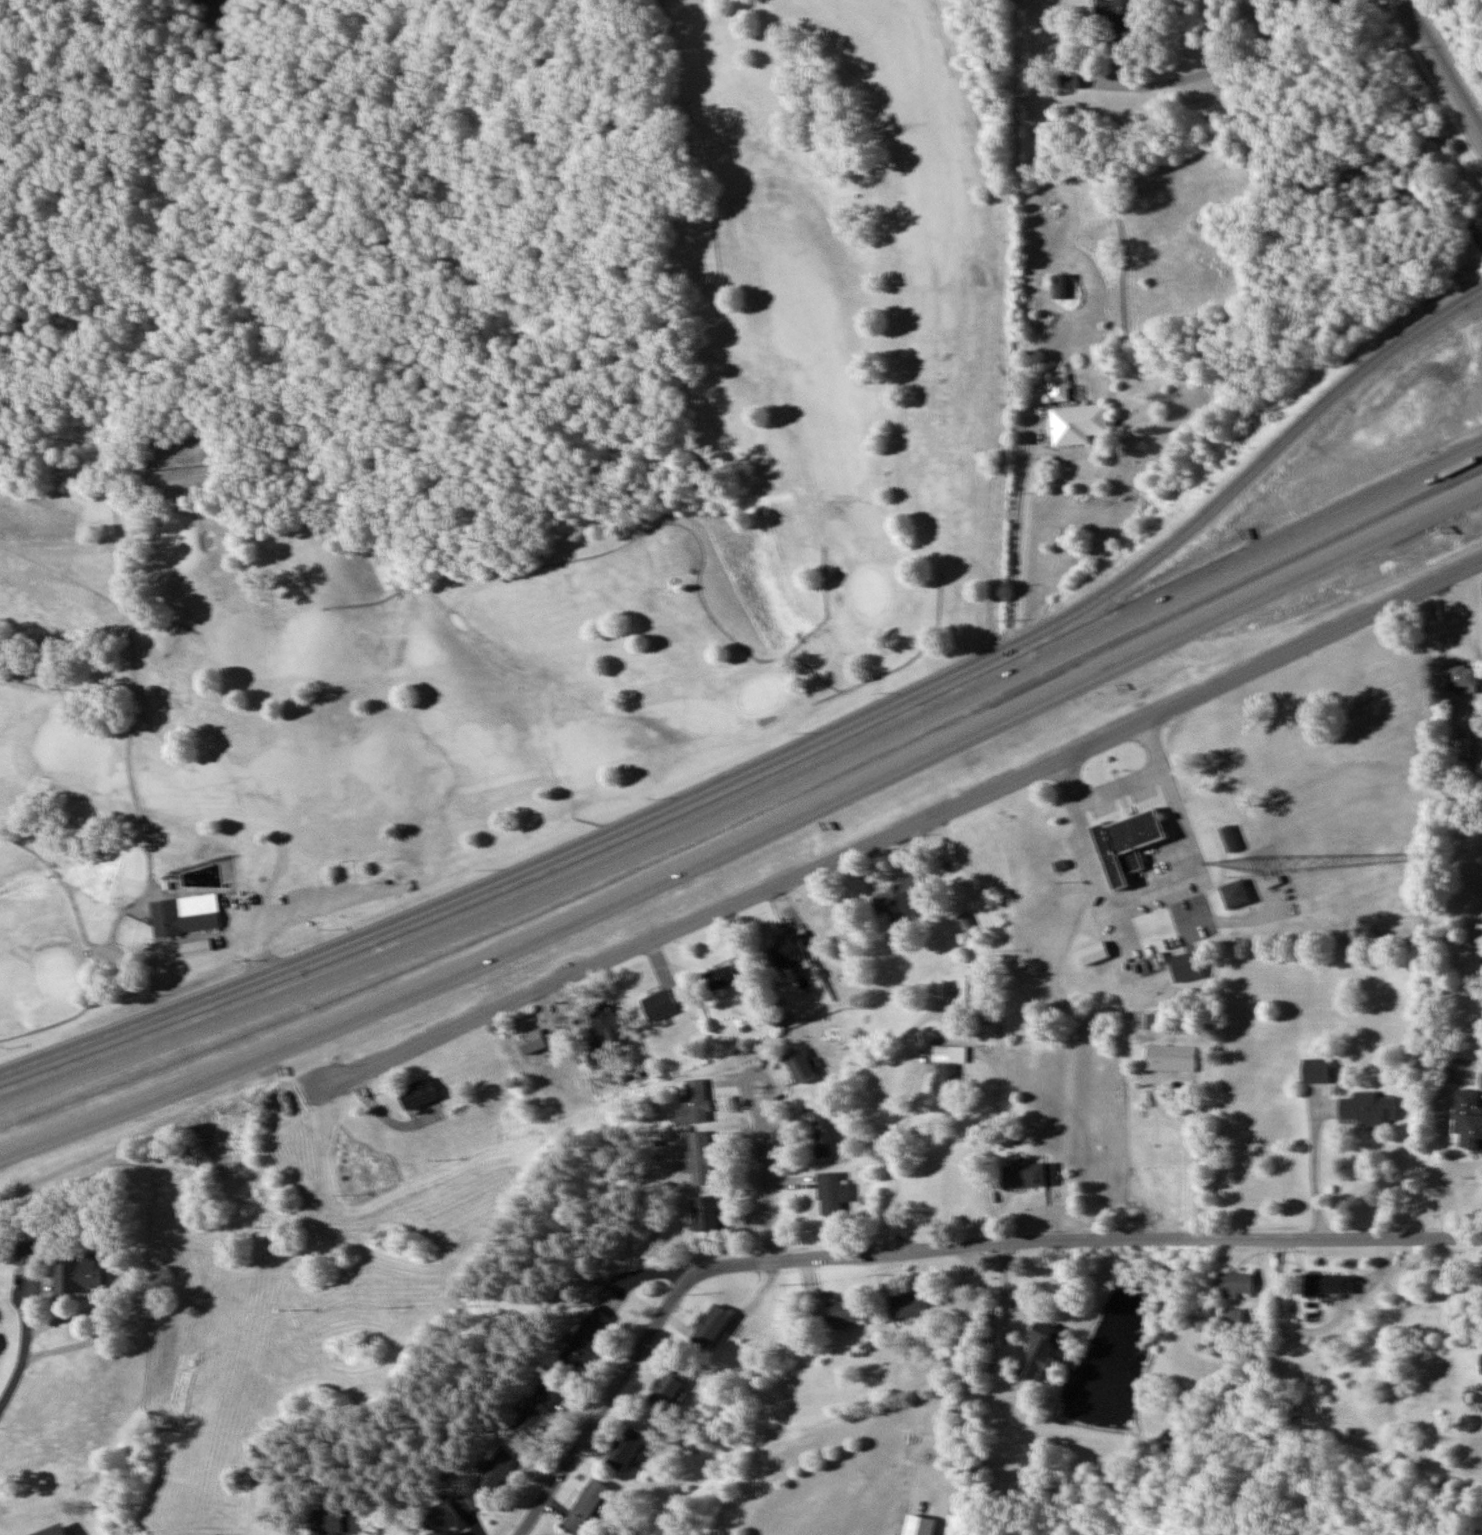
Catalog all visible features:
building: (1110, 18)
park: (181, 50)
road: (1440, 70)
building: (1068, 81)
building: (1060, 286)
building: (1058, 387)
building: (1078, 422)
building: (188, 465)
park: (521, 547)
building: (1461, 676)
road: (779, 752)
road: (750, 800)
road: (903, 826)
road: (748, 839)
building: (1125, 844)
building: (1235, 895)
building: (898, 899)
building: (184, 915)
building: (1481, 944)
building: (788, 955)
building: (1185, 968)
building: (724, 977)
building: (967, 991)
building: (659, 1005)
building: (1155, 1019)
building: (604, 1022)
building: (555, 1039)
building: (530, 1043)
building: (949, 1055)
building: (1169, 1059)
building: (799, 1067)
building: (1315, 1072)
building: (1481, 1079)
building: (943, 1088)
building: (418, 1094)
building: (694, 1102)
building: (1368, 1109)
building: (1468, 1120)
building: (824, 1134)
building: (700, 1158)
building: (1028, 1175)
road: (764, 1177)
building: (832, 1194)
building: (705, 1214)
road: (1083, 1242)
building: (26, 1254)
building: (78, 1276)
building: (1234, 1284)
building: (1326, 1286)
building: (909, 1305)
building: (843, 1311)
building: (1231, 1318)
building: (709, 1328)
building: (585, 1340)
building: (1036, 1351)
building: (1481, 1365)
road: (17, 1366)
building: (668, 1388)
road: (602, 1407)
building: (536, 1410)
building: (1169, 1440)
building: (626, 1449)
building: (495, 1471)
building: (464, 1504)
building: (585, 1506)
building: (439, 1518)
building: (336, 1522)
building: (924, 1526)
park: (1257, 1527)

